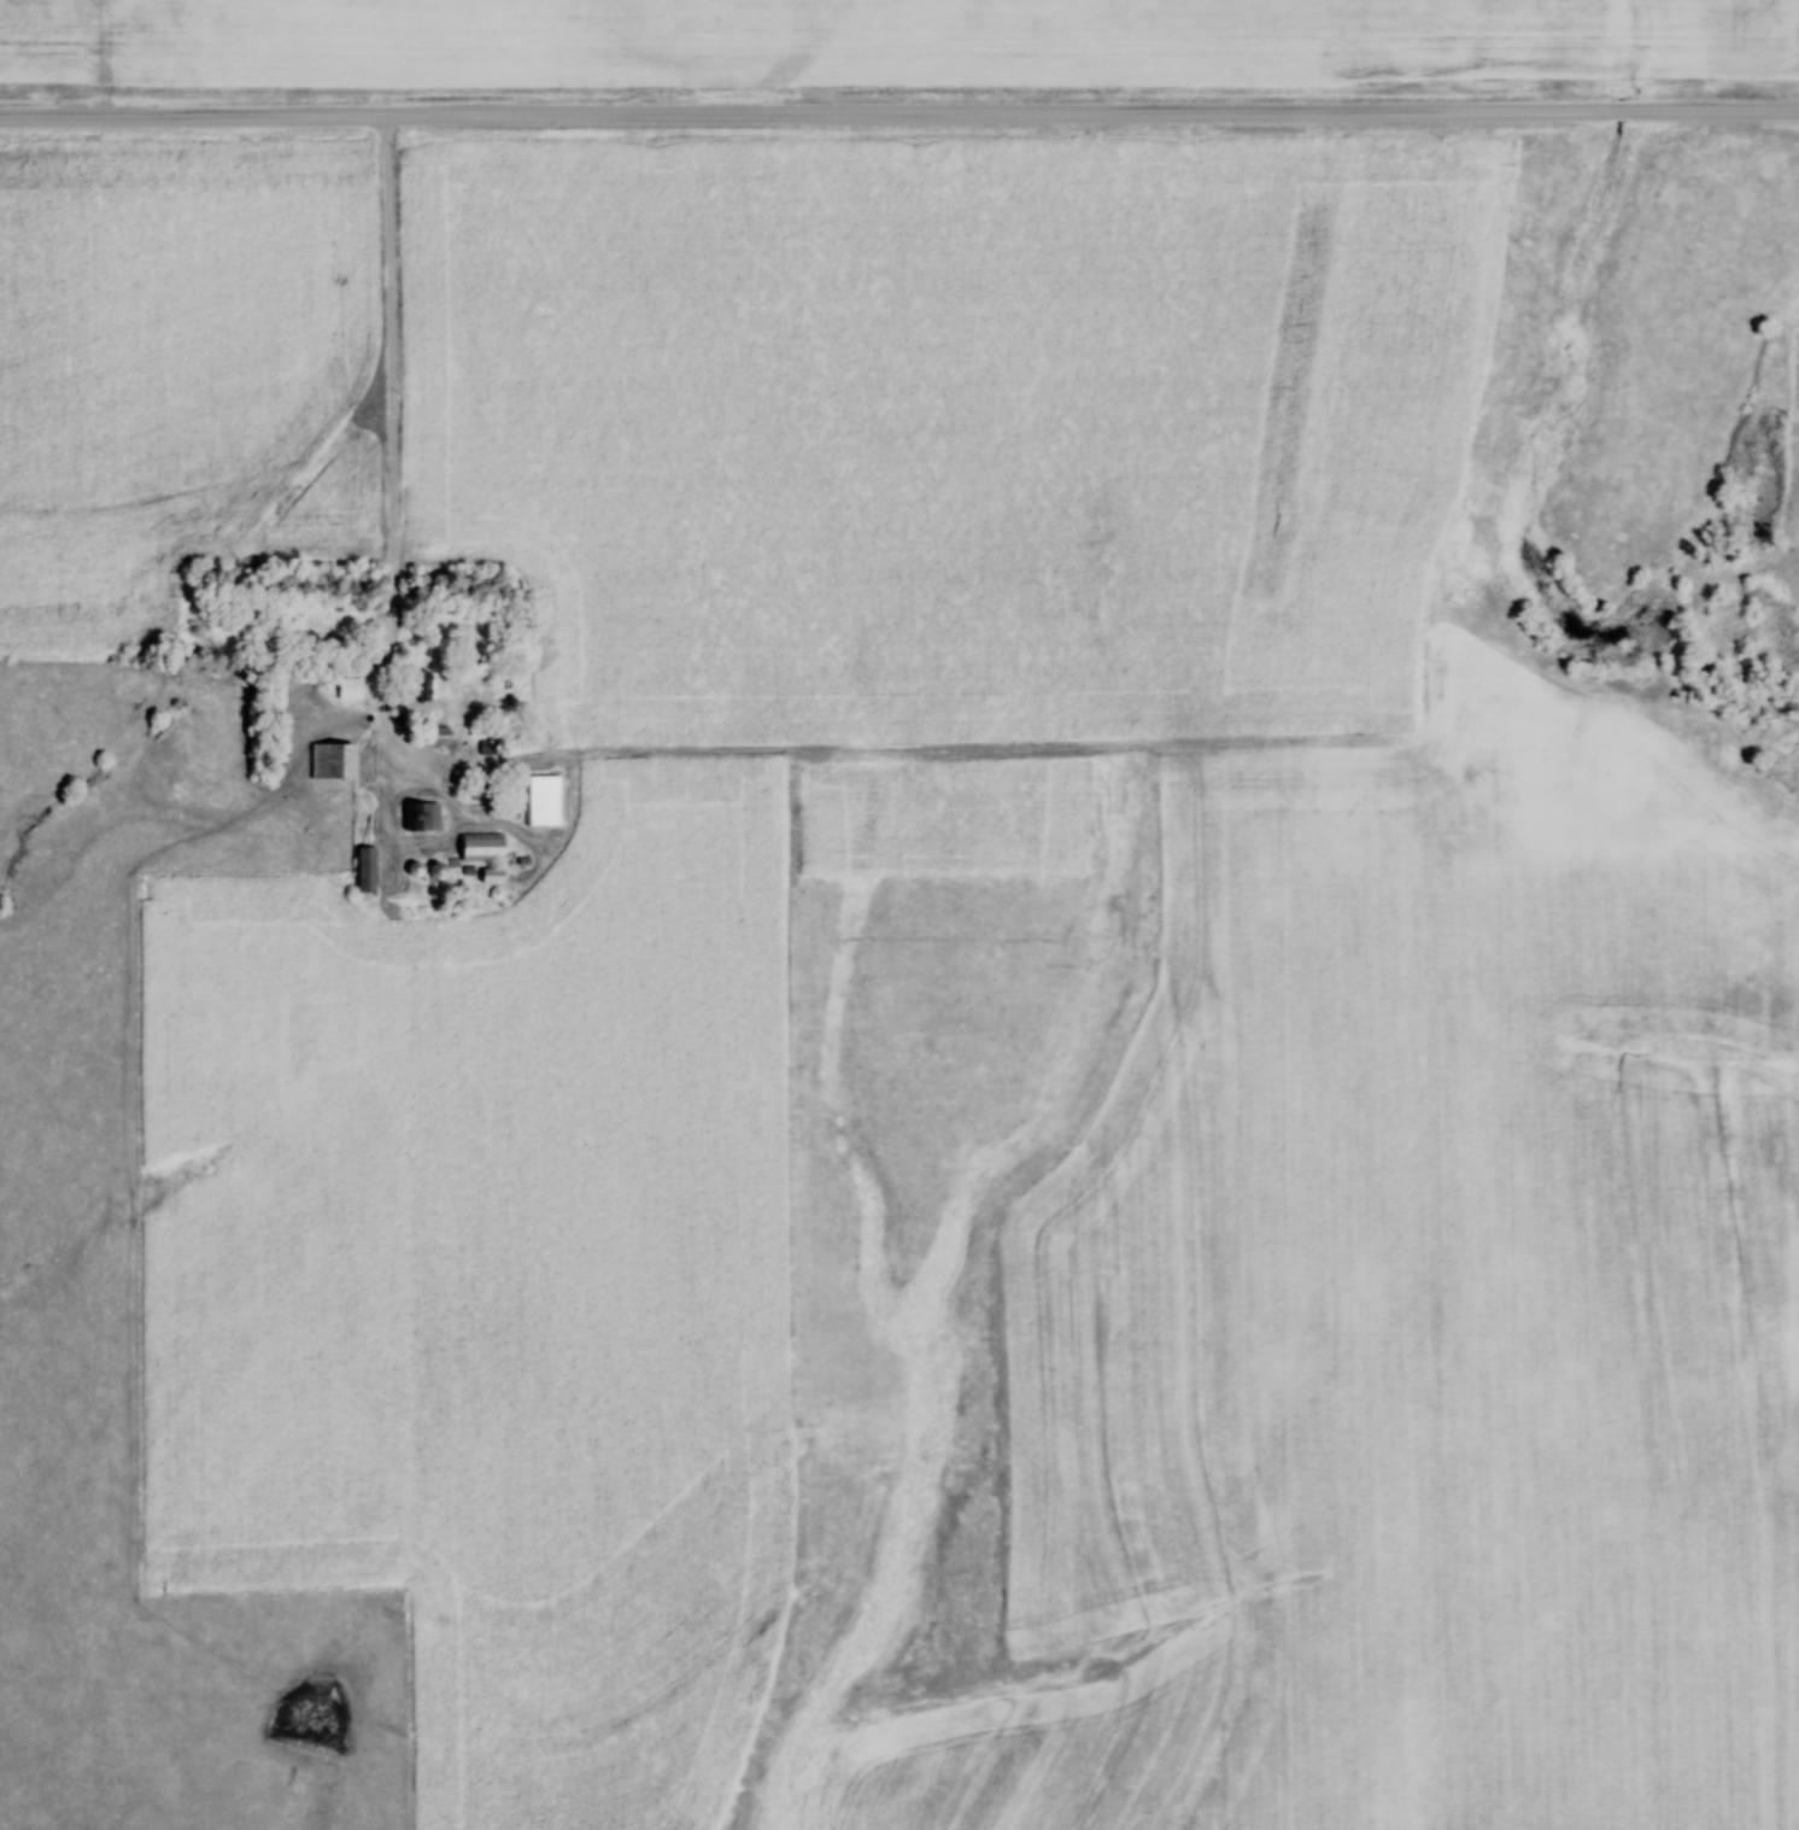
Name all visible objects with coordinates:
road: (898, 117)
road: (395, 408)
building: (427, 685)
building: (354, 688)
building: (338, 761)
building: (549, 800)
building: (426, 817)
building: (487, 847)
building: (371, 870)
building: (498, 876)

